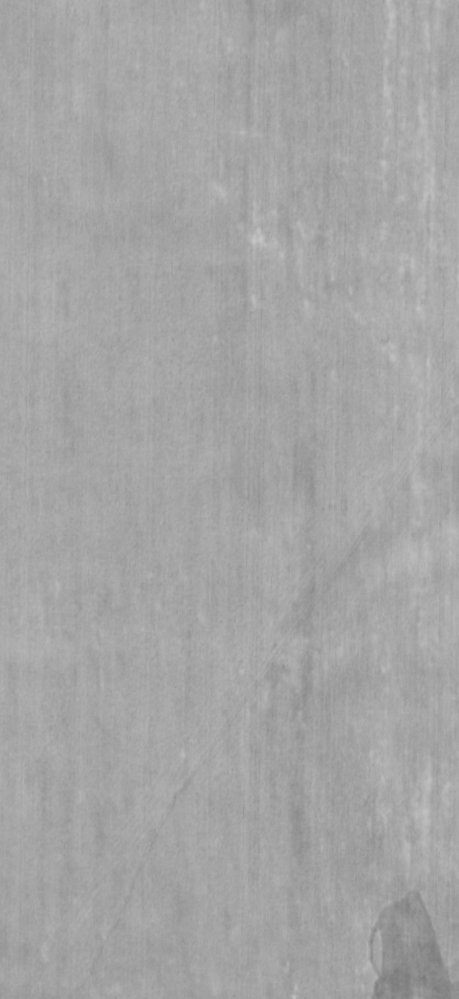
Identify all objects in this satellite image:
crop: (229, 499)

